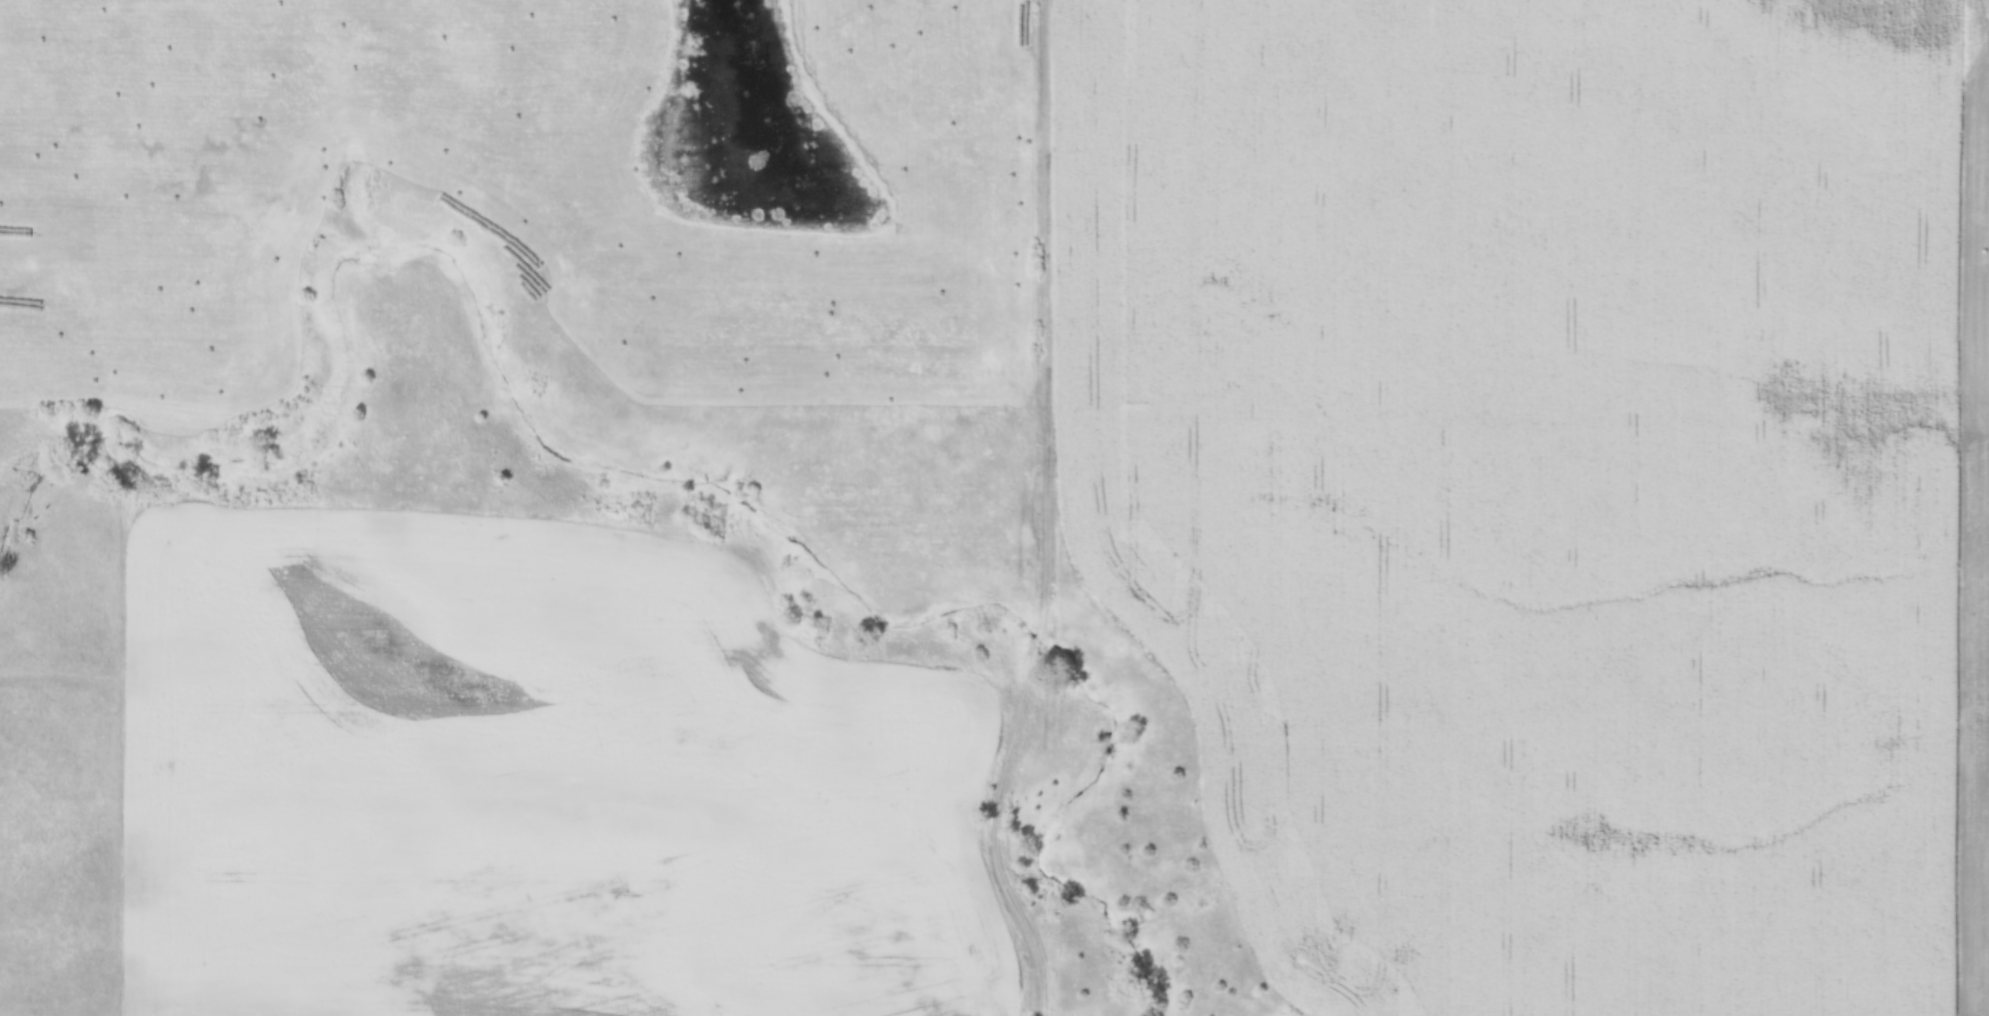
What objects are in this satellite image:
road: (1046, 514)

